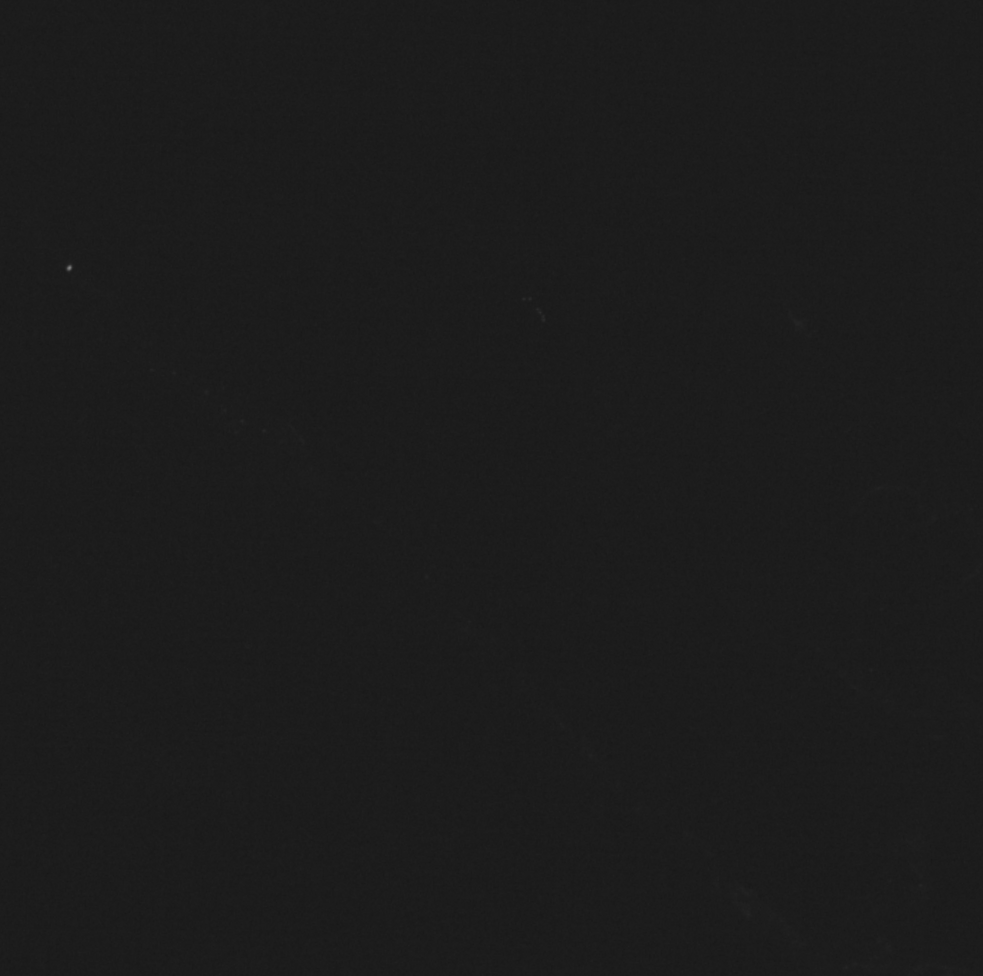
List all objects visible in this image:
river: (463, 641)

